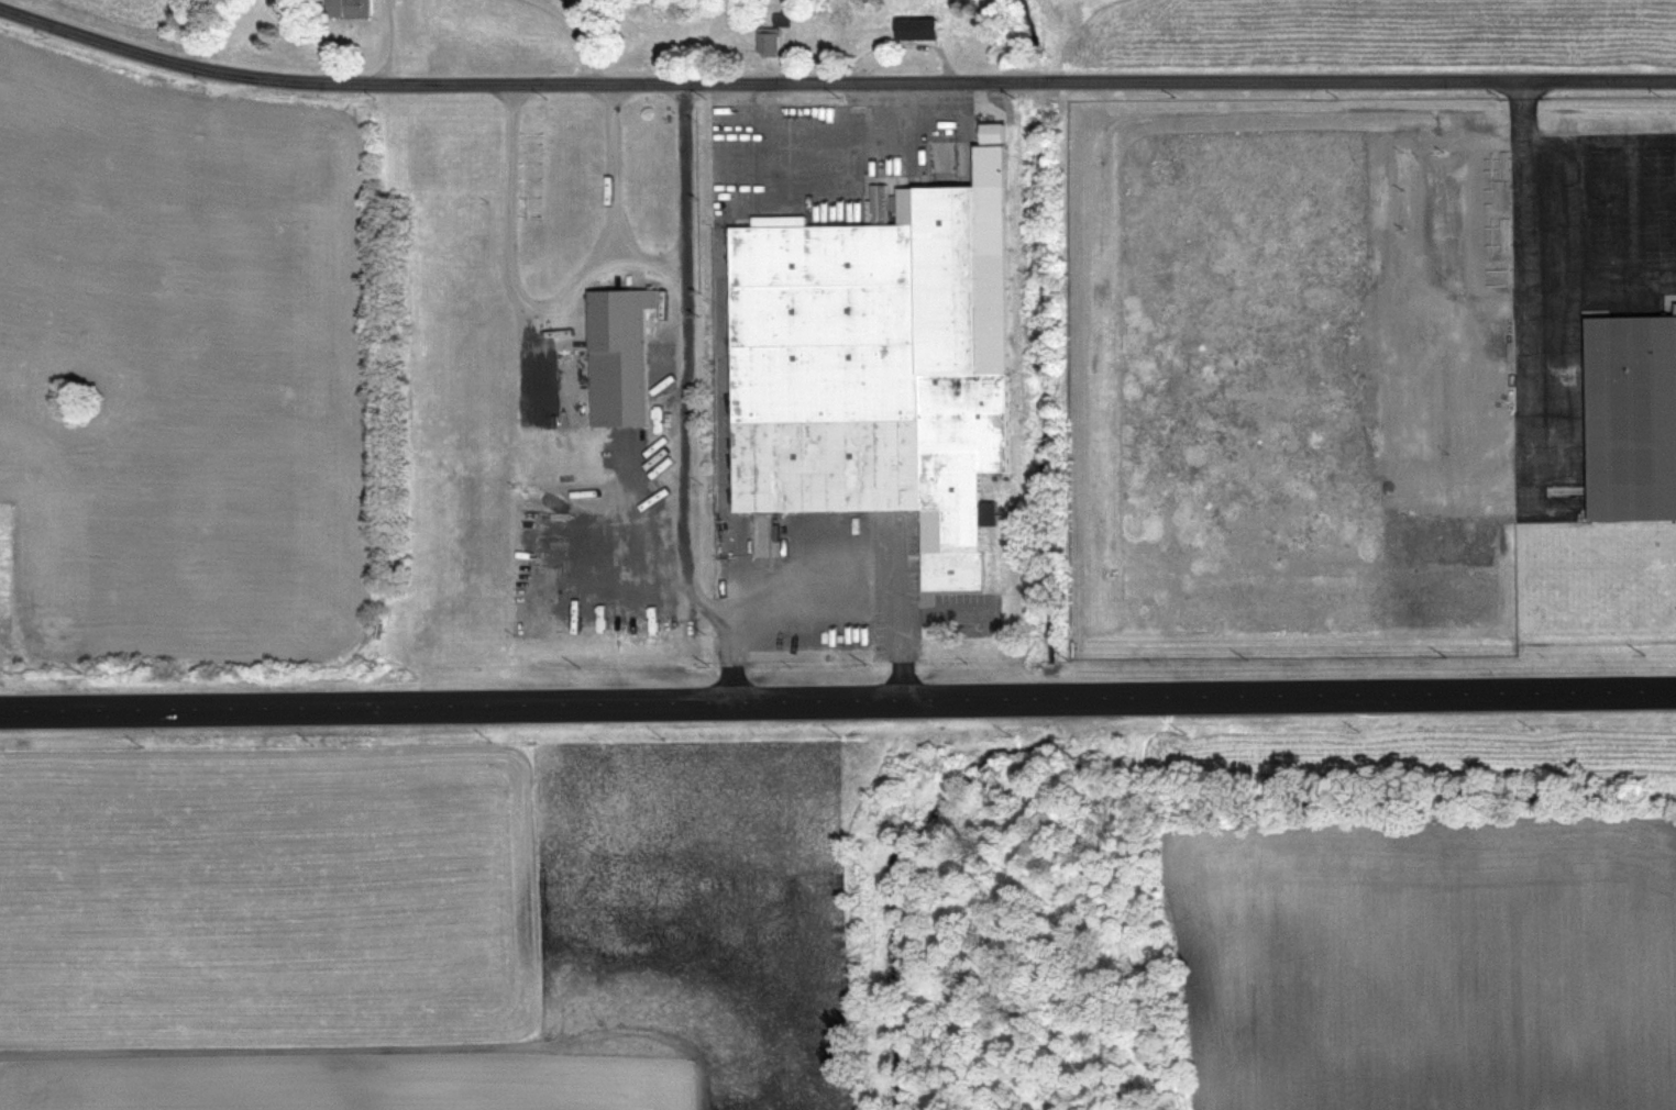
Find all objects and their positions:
building: (346, 7)
crop: (145, 9)
building: (916, 27)
road: (393, 40)
road: (586, 40)
building: (770, 41)
road: (833, 78)
road: (1602, 136)
road: (1634, 207)
road: (1531, 246)
road: (644, 259)
road: (550, 310)
building: (622, 357)
building: (881, 365)
road: (685, 409)
building: (1635, 418)
road: (816, 589)
road: (903, 606)
road: (837, 699)

